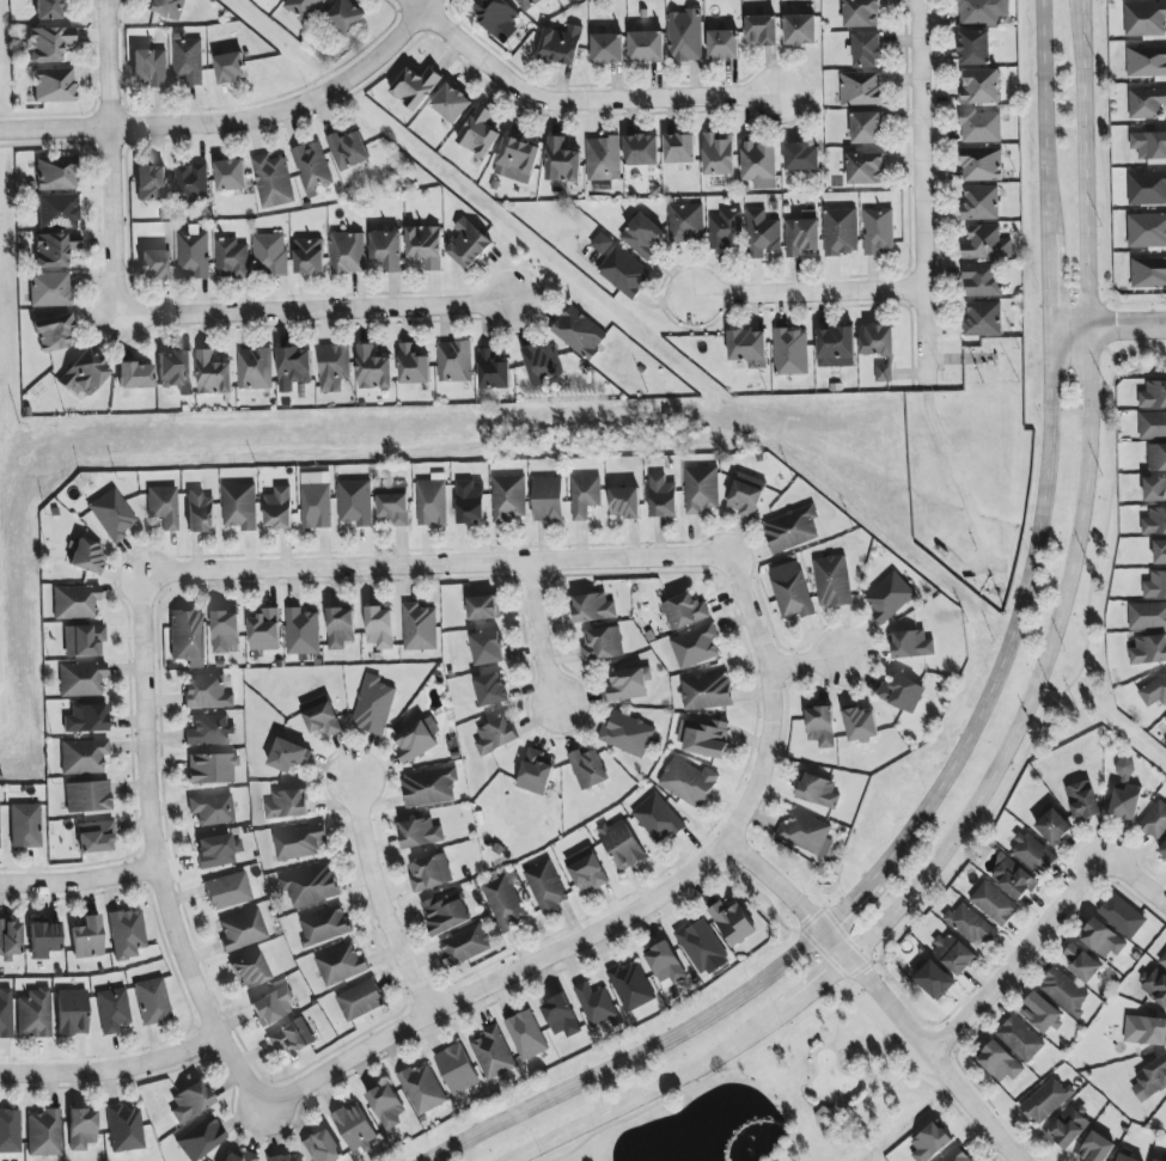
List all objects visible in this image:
building: (529, 4)
building: (167, 8)
building: (304, 8)
building: (48, 10)
building: (982, 11)
building: (862, 13)
building: (347, 16)
building: (497, 19)
building: (1144, 19)
building: (762, 30)
building: (800, 30)
building: (685, 36)
building: (49, 43)
building: (561, 45)
building: (724, 45)
building: (647, 47)
building: (975, 48)
building: (608, 49)
building: (867, 50)
building: (188, 59)
building: (1146, 61)
road: (371, 63)
building: (151, 67)
building: (230, 67)
building: (54, 85)
building: (415, 87)
building: (981, 87)
building: (860, 88)
road: (576, 102)
building: (451, 103)
building: (1146, 103)
road: (148, 126)
building: (981, 127)
building: (867, 128)
building: (480, 133)
building: (1149, 145)
building: (680, 148)
building: (348, 149)
building: (641, 149)
building: (718, 155)
building: (802, 157)
road: (110, 159)
building: (603, 159)
building: (518, 160)
building: (562, 161)
building: (982, 164)
building: (761, 165)
building: (312, 167)
building: (865, 169)
building: (55, 173)
building: (231, 176)
road: (921, 176)
building: (273, 181)
building: (191, 182)
building: (151, 183)
building: (1147, 188)
building: (981, 203)
building: (59, 212)
building: (686, 222)
building: (726, 230)
building: (878, 231)
building: (1147, 231)
building: (841, 232)
building: (762, 233)
building: (802, 234)
building: (642, 237)
building: (469, 244)
building: (602, 244)
building: (987, 244)
building: (426, 245)
building: (54, 250)
building: (387, 250)
building: (193, 253)
building: (348, 253)
building: (270, 255)
building: (310, 256)
building: (232, 258)
building: (155, 264)
building: (624, 273)
building: (1148, 273)
building: (982, 280)
building: (50, 289)
road: (807, 292)
road: (315, 311)
building: (983, 319)
road: (1109, 325)
building: (580, 332)
building: (54, 334)
building: (877, 341)
building: (836, 347)
building: (749, 348)
building: (790, 352)
building: (454, 361)
building: (543, 363)
building: (413, 365)
building: (334, 367)
building: (255, 368)
building: (294, 368)
building: (373, 369)
building: (176, 371)
building: (493, 371)
building: (884, 372)
building: (84, 373)
building: (214, 374)
building: (135, 375)
building: (1153, 396)
building: (1153, 426)
building: (1156, 458)
building: (701, 489)
building: (1155, 490)
building: (585, 496)
building: (745, 496)
building: (509, 497)
building: (663, 497)
building: (548, 500)
building: (317, 501)
building: (433, 501)
building: (355, 502)
building: (625, 502)
building: (470, 503)
building: (163, 506)
building: (239, 506)
building: (393, 506)
building: (279, 508)
building: (200, 512)
building: (111, 514)
building: (1155, 523)
building: (790, 530)
building: (1160, 554)
building: (86, 556)
road: (437, 567)
building: (832, 581)
building: (1155, 586)
building: (793, 595)
building: (889, 598)
building: (75, 601)
building: (484, 607)
building: (593, 607)
building: (685, 611)
building: (1147, 616)
building: (341, 628)
building: (380, 628)
building: (420, 628)
building: (225, 631)
building: (264, 631)
building: (303, 631)
building: (188, 635)
road: (537, 636)
building: (84, 640)
building: (603, 643)
building: (911, 644)
building: (695, 646)
building: (488, 648)
building: (1149, 650)
road: (808, 664)
building: (81, 679)
building: (629, 684)
building: (492, 690)
building: (707, 691)
building: (1154, 691)
building: (207, 692)
building: (902, 693)
road: (771, 698)
road: (1034, 698)
building: (373, 705)
building: (322, 716)
building: (86, 719)
road: (976, 720)
building: (1165, 720)
building: (860, 725)
building: (820, 726)
building: (209, 731)
building: (628, 734)
building: (495, 735)
building: (704, 739)
building: (416, 740)
building: (83, 756)
building: (288, 756)
building: (212, 768)
building: (1124, 768)
building: (588, 769)
building: (536, 772)
building: (688, 782)
building: (429, 787)
building: (818, 790)
building: (87, 796)
building: (1083, 801)
building: (1125, 802)
building: (288, 803)
building: (212, 808)
building: (658, 819)
building: (1155, 820)
building: (25, 825)
building: (1054, 827)
building: (421, 833)
building: (807, 833)
building: (94, 837)
building: (299, 842)
building: (622, 844)
building: (218, 850)
building: (1162, 850)
road: (157, 851)
building: (1032, 854)
building: (586, 869)
building: (431, 873)
building: (1014, 879)
road: (1136, 879)
road: (79, 882)
building: (311, 886)
building: (545, 886)
building: (228, 891)
road: (378, 903)
building: (505, 903)
building: (994, 904)
building: (445, 915)
building: (1123, 916)
building: (733, 923)
building: (970, 924)
building: (324, 925)
building: (242, 930)
building: (127, 934)
building: (44, 937)
building: (87, 937)
building: (1103, 939)
building: (8, 941)
building: (465, 945)
building: (701, 945)
building: (954, 952)
road: (1017, 957)
building: (1162, 961)
building: (1082, 964)
building: (341, 965)
building: (666, 965)
building: (250, 971)
building: (933, 979)
road: (497, 980)
building: (631, 986)
building: (1156, 986)
building: (1066, 991)
road: (879, 996)
building: (152, 1001)
building: (360, 1001)
building: (596, 1004)
building: (273, 1006)
building: (112, 1010)
building: (72, 1012)
building: (6, 1013)
building: (1042, 1013)
building: (35, 1014)
building: (561, 1016)
building: (1144, 1031)
building: (526, 1035)
building: (292, 1038)
building: (1020, 1039)
building: (493, 1053)
building: (1000, 1062)
building: (457, 1069)
road: (110, 1071)
building: (1150, 1078)
building: (422, 1089)
building: (1046, 1100)
building: (190, 1101)
building: (386, 1106)
building: (826, 1118)
building: (355, 1128)
building: (81, 1129)
building: (124, 1129)
building: (1068, 1129)
building: (10, 1131)
building: (44, 1133)
building: (201, 1139)
building: (930, 1142)
building: (323, 1147)
building: (1095, 1148)
building: (248, 1154)
building: (957, 1155)
building: (287, 1157)
building: (1125, 1157)
building: (1156, 1160)

